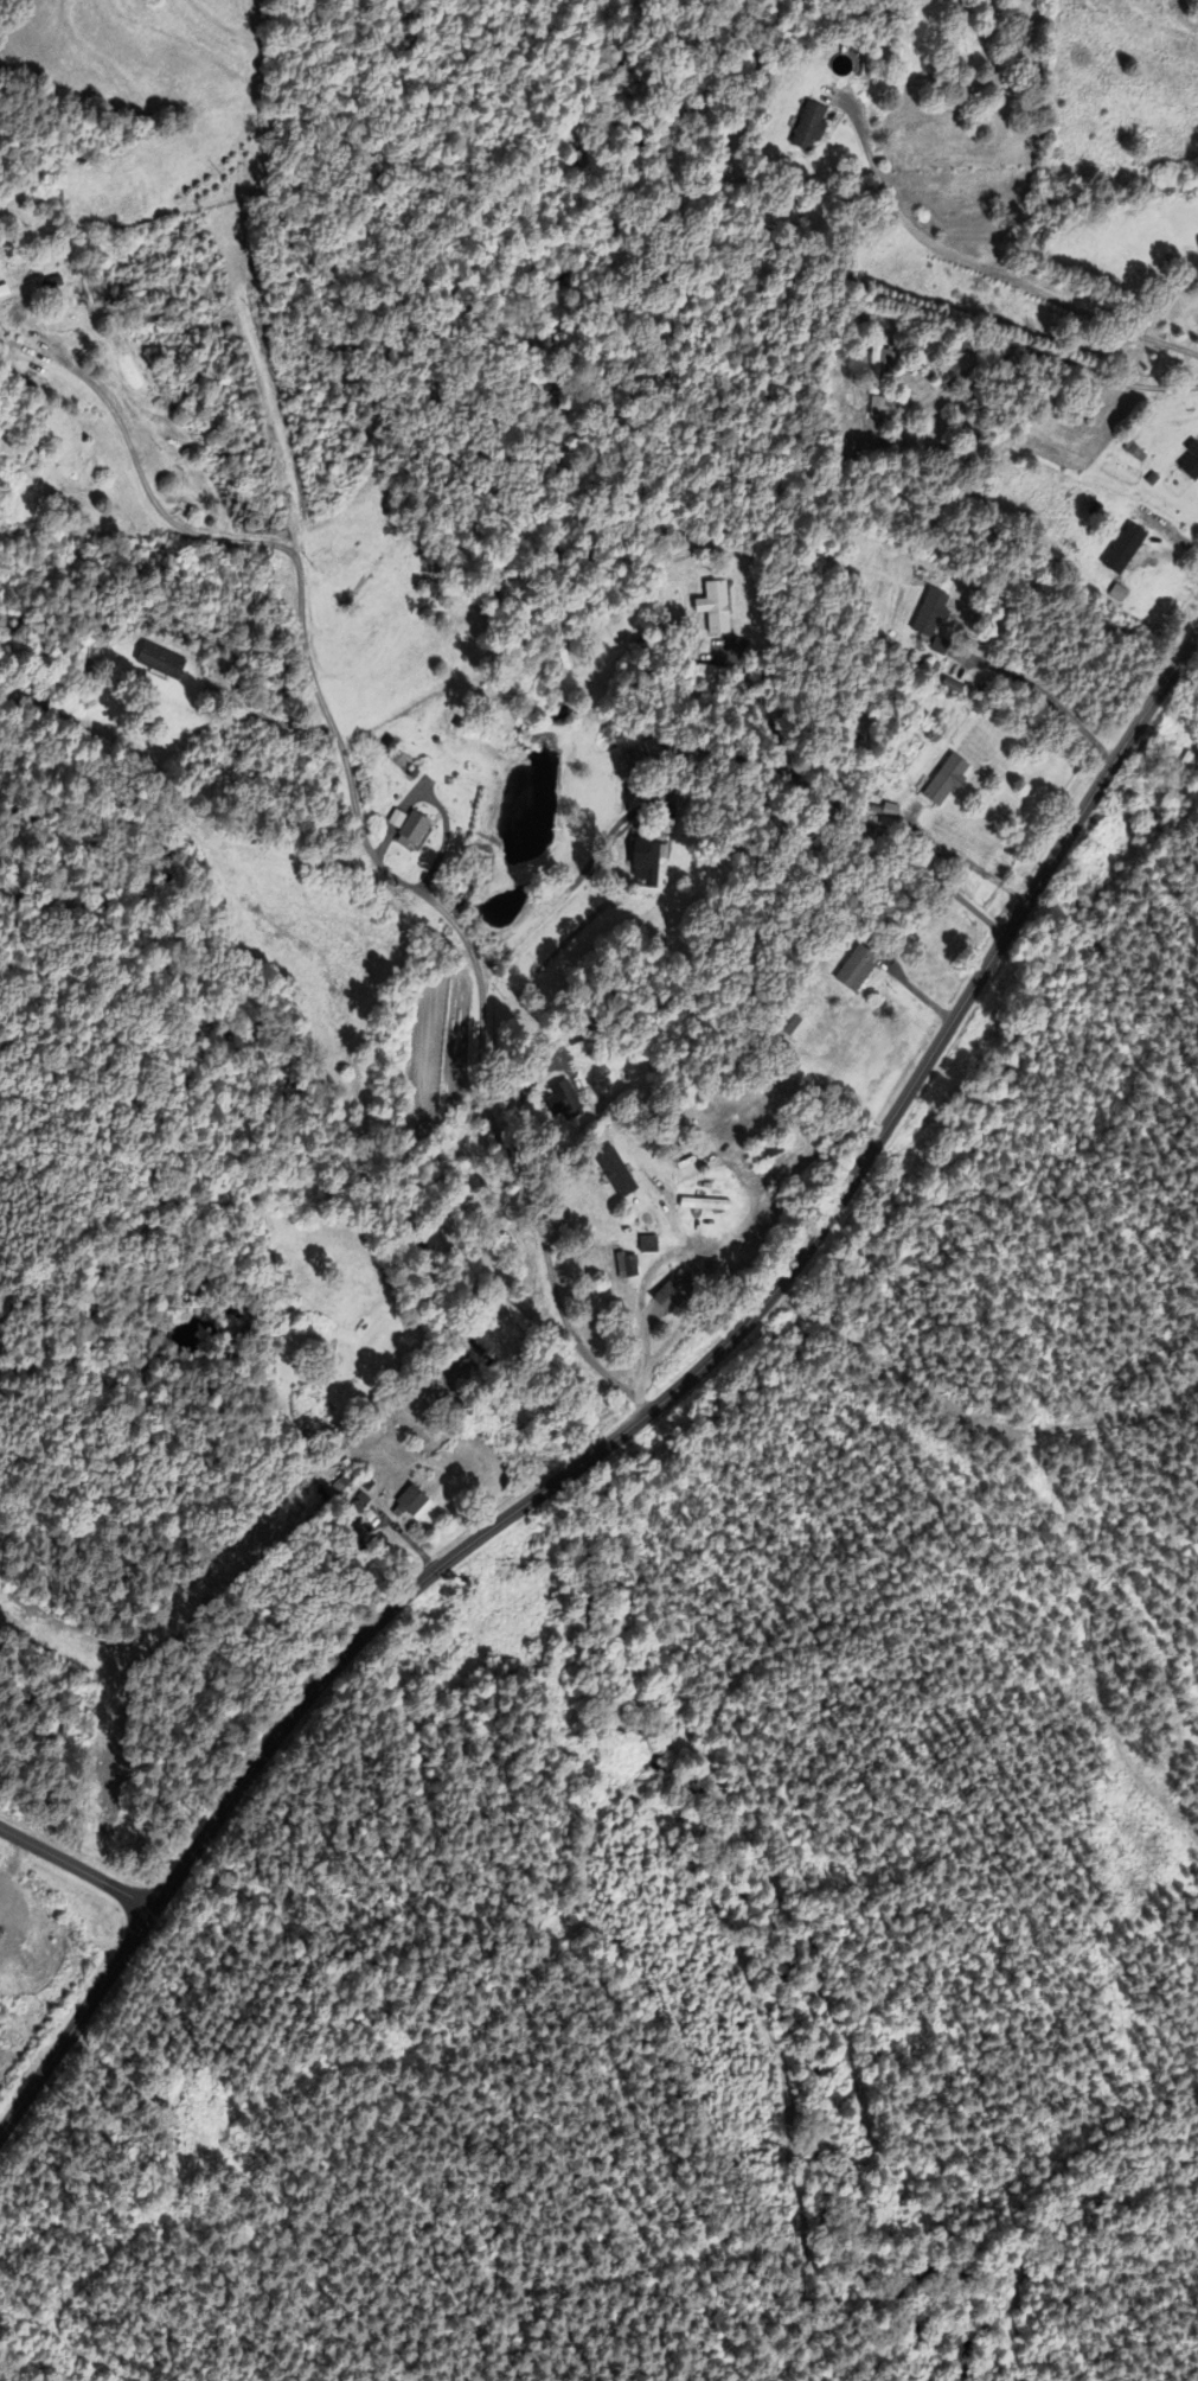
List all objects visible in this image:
building: (811, 127)
road: (974, 264)
building: (1, 292)
building: (152, 311)
road: (1043, 351)
building: (879, 379)
building: (1191, 462)
road: (1178, 538)
building: (1125, 549)
building: (717, 607)
building: (931, 613)
building: (159, 659)
building: (704, 675)
road: (1046, 694)
road: (768, 714)
building: (399, 759)
building: (1180, 771)
building: (944, 780)
building: (670, 784)
road: (846, 806)
building: (410, 830)
building: (648, 862)
building: (854, 966)
road: (479, 978)
building: (788, 1022)
building: (564, 1097)
building: (768, 1147)
building: (615, 1172)
building: (776, 1192)
building: (703, 1204)
building: (647, 1243)
building: (626, 1265)
building: (670, 1294)
road: (677, 1332)
building: (437, 1392)
road: (639, 1419)
building: (410, 1500)
road: (77, 1868)

